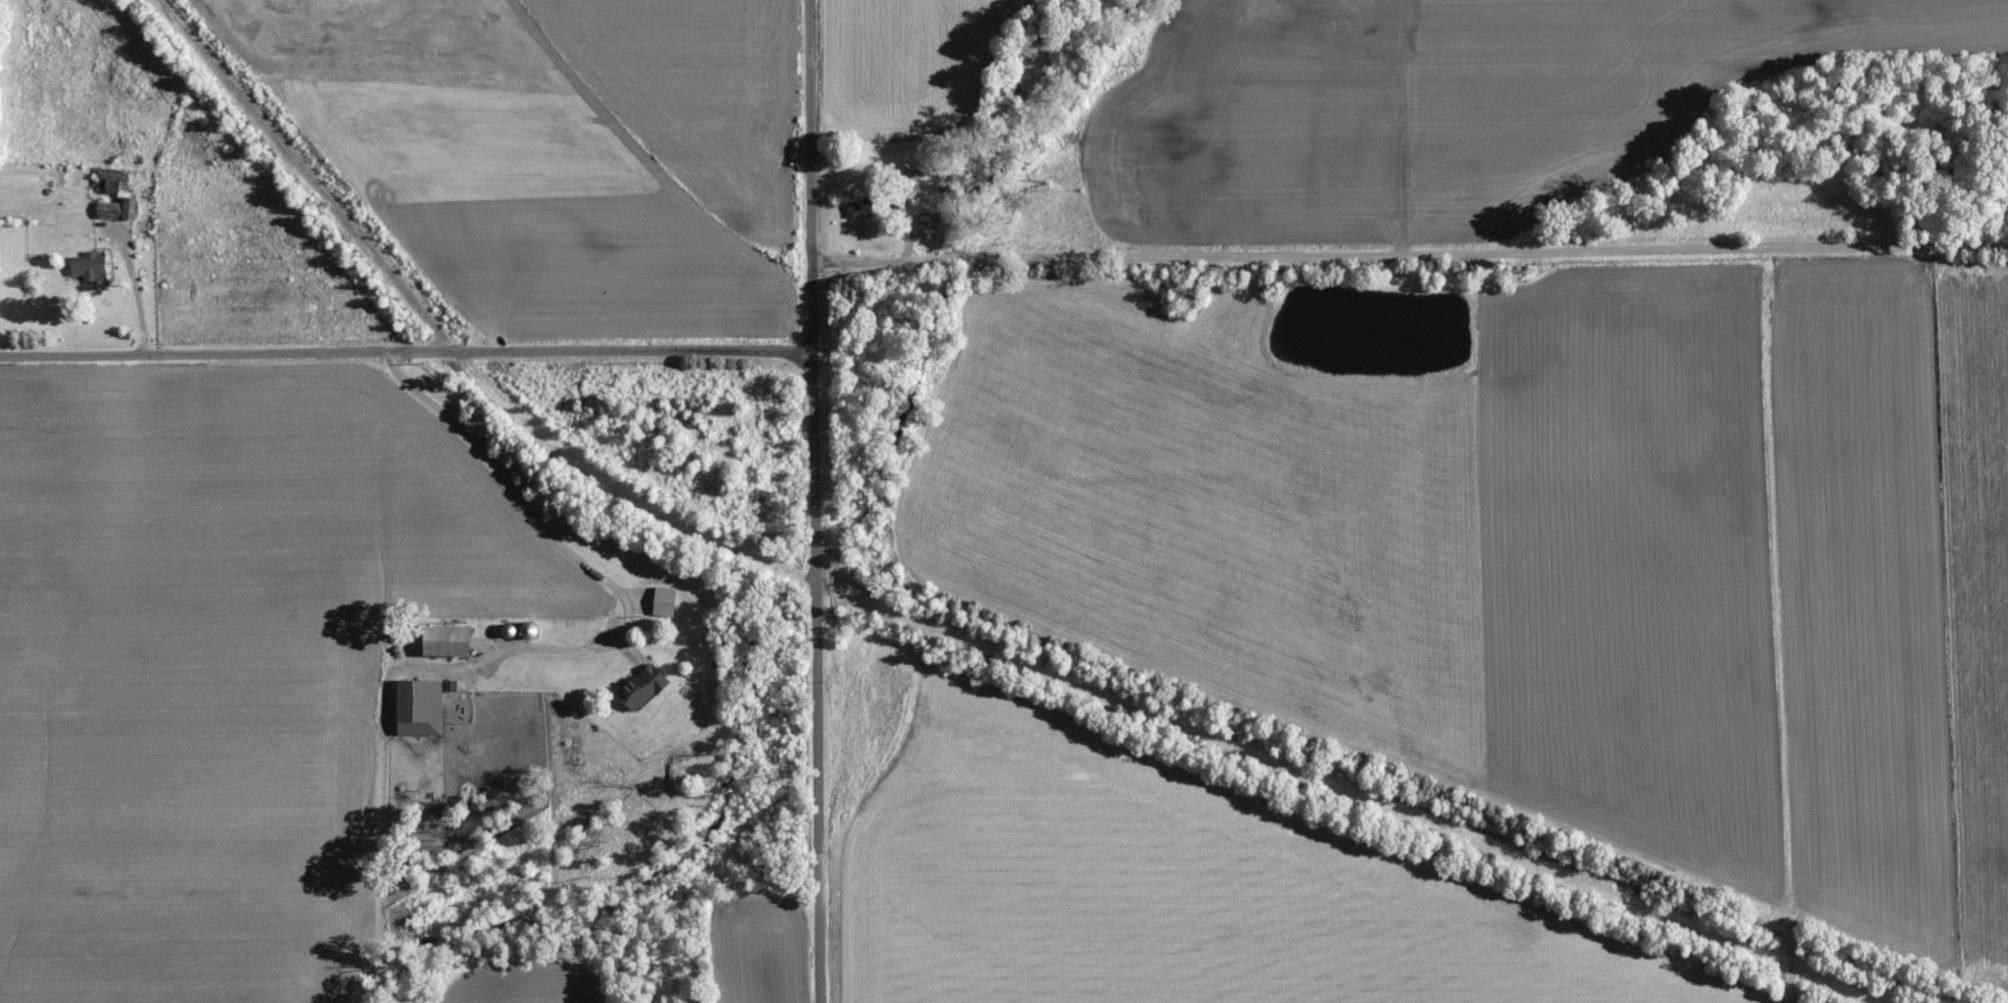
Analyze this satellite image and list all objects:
road: (814, 174)
building: (109, 179)
building: (858, 207)
building: (115, 208)
building: (926, 224)
road: (1412, 253)
building: (87, 264)
road: (135, 289)
road: (405, 353)
road: (549, 533)
building: (662, 600)
building: (444, 640)
road: (815, 676)
building: (640, 687)
building: (417, 706)

